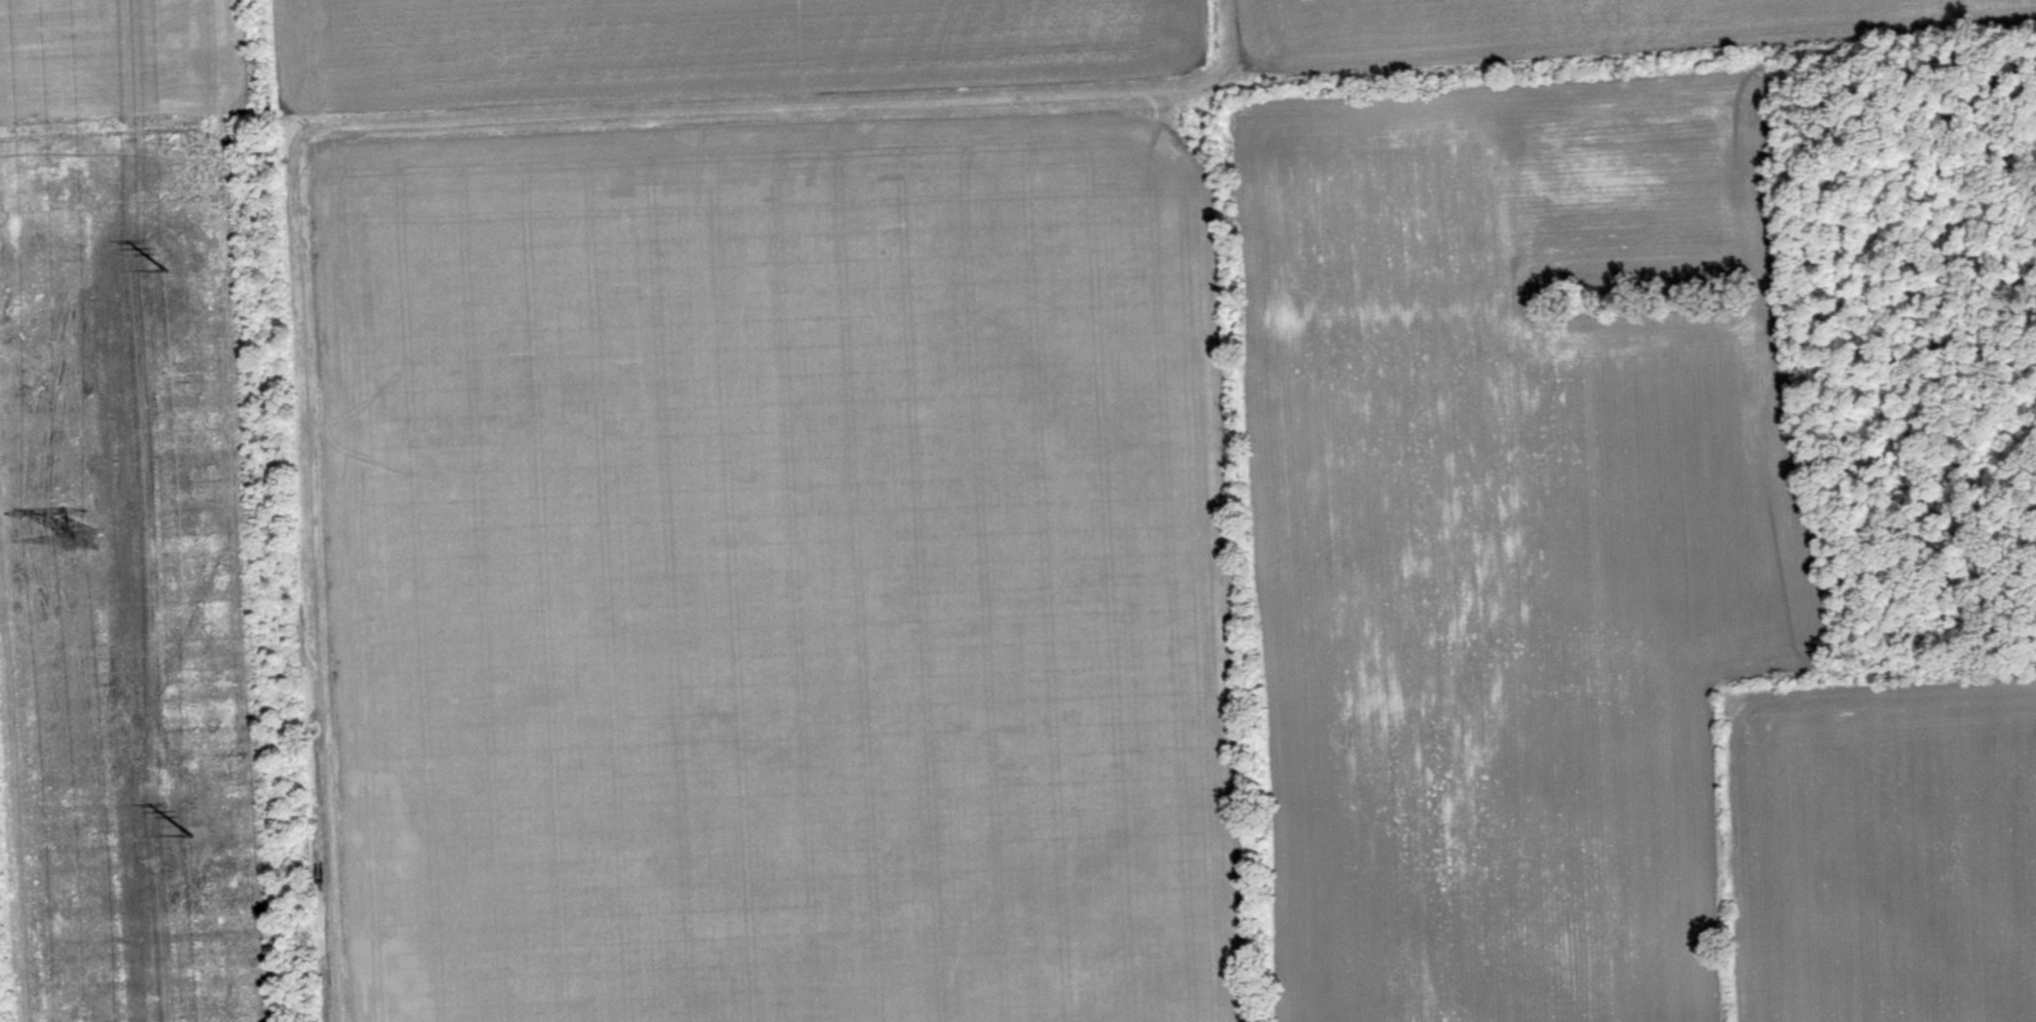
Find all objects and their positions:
power tower: (174, 269)
power tower: (71, 553)
power tower: (202, 825)

